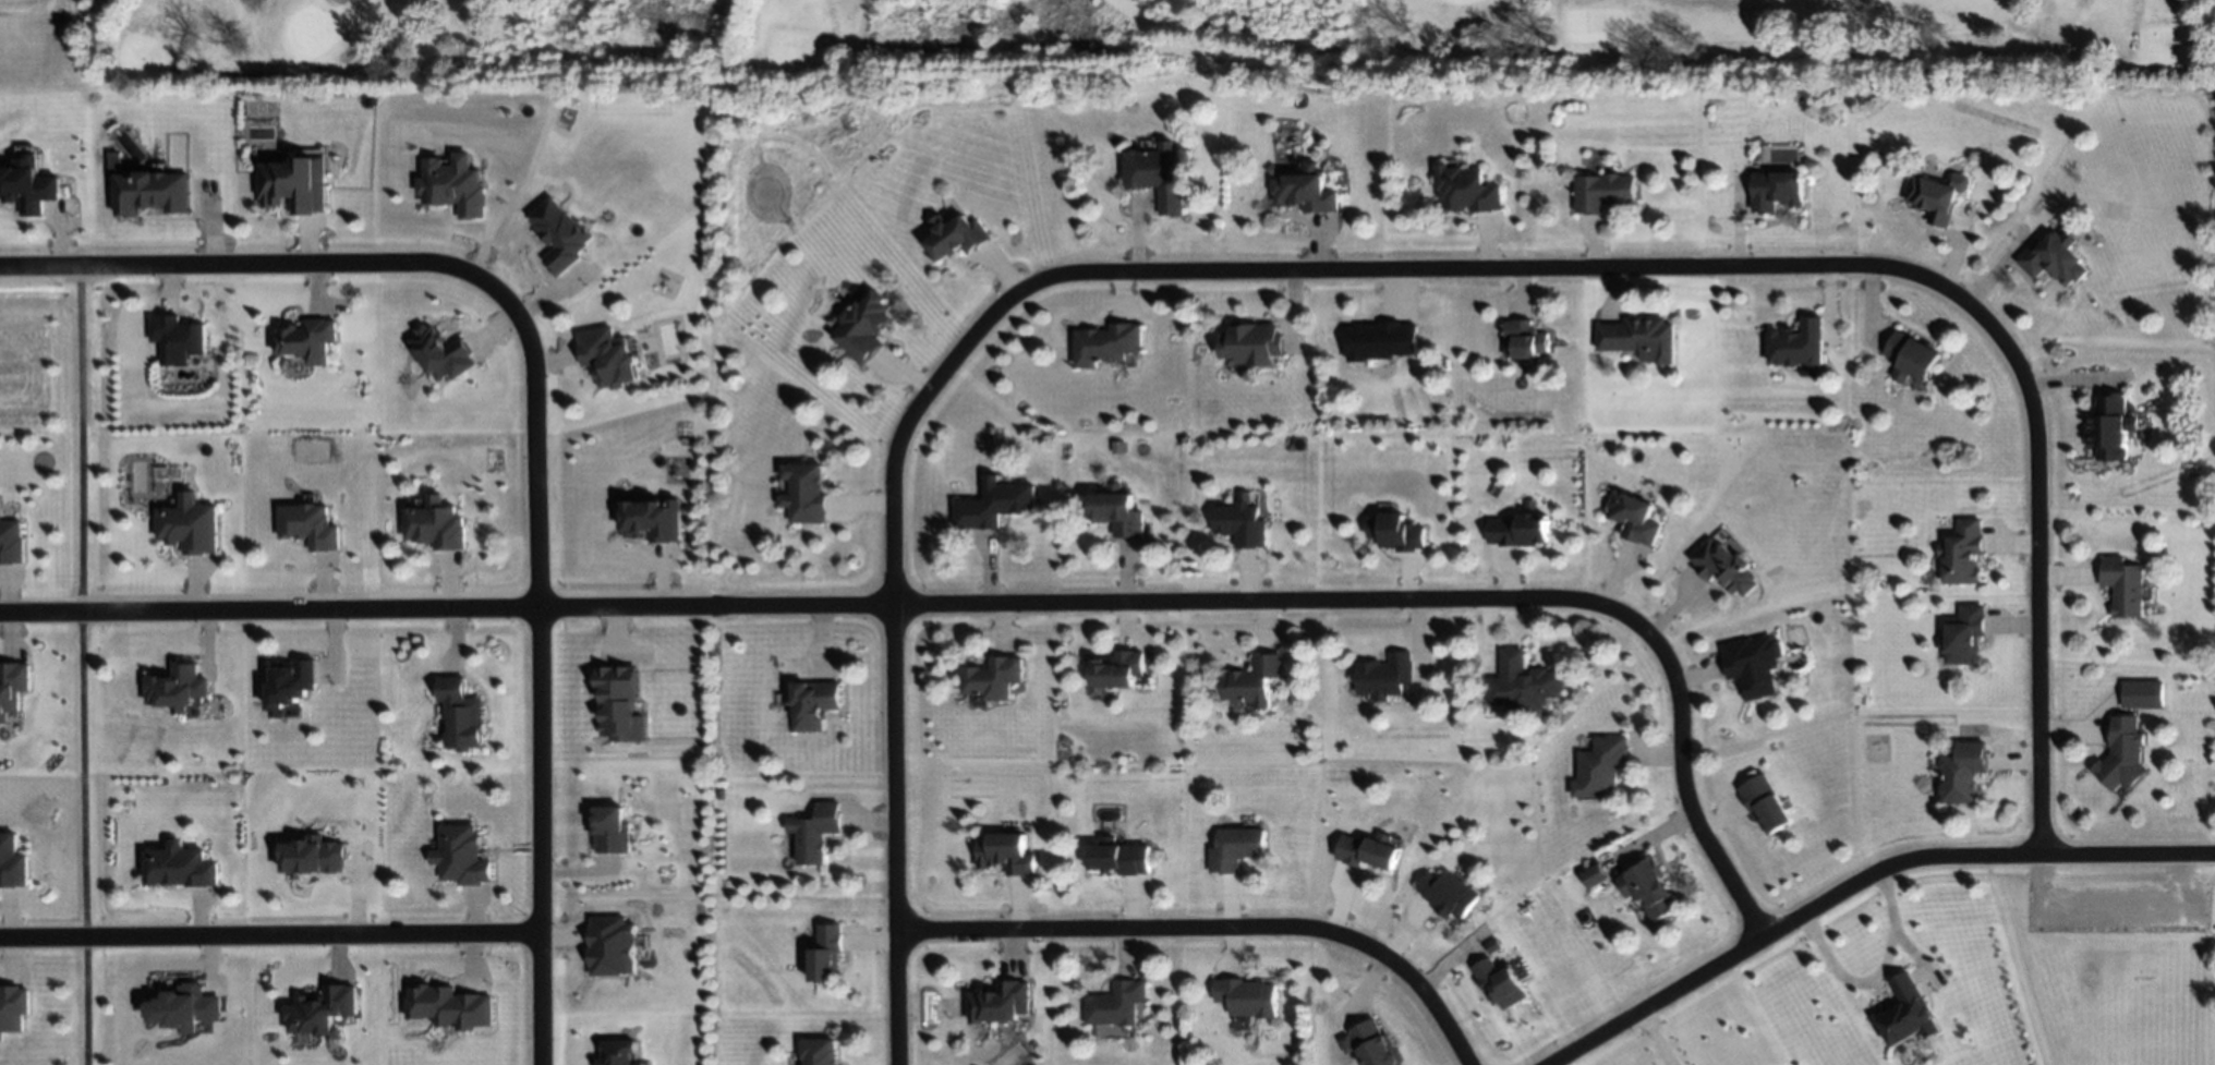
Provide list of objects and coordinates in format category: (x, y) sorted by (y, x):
road: (1692, 2)
park: (1099, 40)
road: (2129, 51)
road: (839, 65)
road: (207, 75)
building: (1159, 174)
building: (300, 182)
building: (27, 186)
building: (453, 186)
building: (1466, 189)
building: (1305, 190)
building: (1777, 190)
building: (155, 192)
building: (1603, 192)
building: (1935, 197)
building: (559, 234)
building: (957, 235)
building: (2054, 257)
road: (412, 266)
road: (1805, 266)
building: (864, 328)
building: (1639, 338)
building: (1524, 339)
building: (179, 340)
building: (1381, 340)
building: (310, 341)
building: (1105, 343)
building: (1250, 343)
building: (1799, 343)
building: (444, 354)
building: (610, 356)
building: (1912, 356)
building: (2110, 426)
building: (804, 493)
building: (995, 503)
building: (1117, 513)
building: (1633, 515)
building: (653, 521)
building: (1240, 524)
building: (437, 525)
building: (190, 527)
building: (311, 527)
building: (1518, 530)
building: (1396, 532)
building: (11, 542)
building: (1962, 554)
building: (1724, 567)
building: (2122, 585)
road: (991, 605)
road: (892, 629)
building: (1965, 634)
building: (1753, 665)
road: (80, 668)
building: (1117, 668)
building: (1385, 676)
building: (993, 677)
building: (1251, 680)
building: (291, 683)
building: (1524, 683)
building: (12, 687)
building: (178, 689)
building: (2143, 693)
building: (815, 703)
building: (618, 705)
building: (460, 716)
building: (2122, 754)
building: (1602, 769)
building: (1962, 772)
building: (1765, 802)
building: (608, 831)
building: (815, 832)
road: (534, 836)
building: (1235, 848)
building: (1367, 850)
building: (461, 854)
building: (1005, 855)
building: (313, 857)
building: (1121, 858)
building: (12, 863)
building: (180, 868)
building: (1594, 875)
road: (1857, 882)
building: (1647, 887)
building: (1448, 894)
road: (2108, 903)
road: (1209, 929)
road: (266, 937)
building: (1493, 945)
building: (612, 947)
building: (827, 955)
road: (1876, 977)
building: (1500, 983)
building: (1246, 997)
building: (1002, 1002)
building: (1115, 1003)
building: (449, 1007)
building: (184, 1008)
building: (13, 1009)
building: (1909, 1009)
building: (320, 1012)
road: (1656, 1037)
building: (1375, 1044)
building: (819, 1051)
building: (618, 1053)

